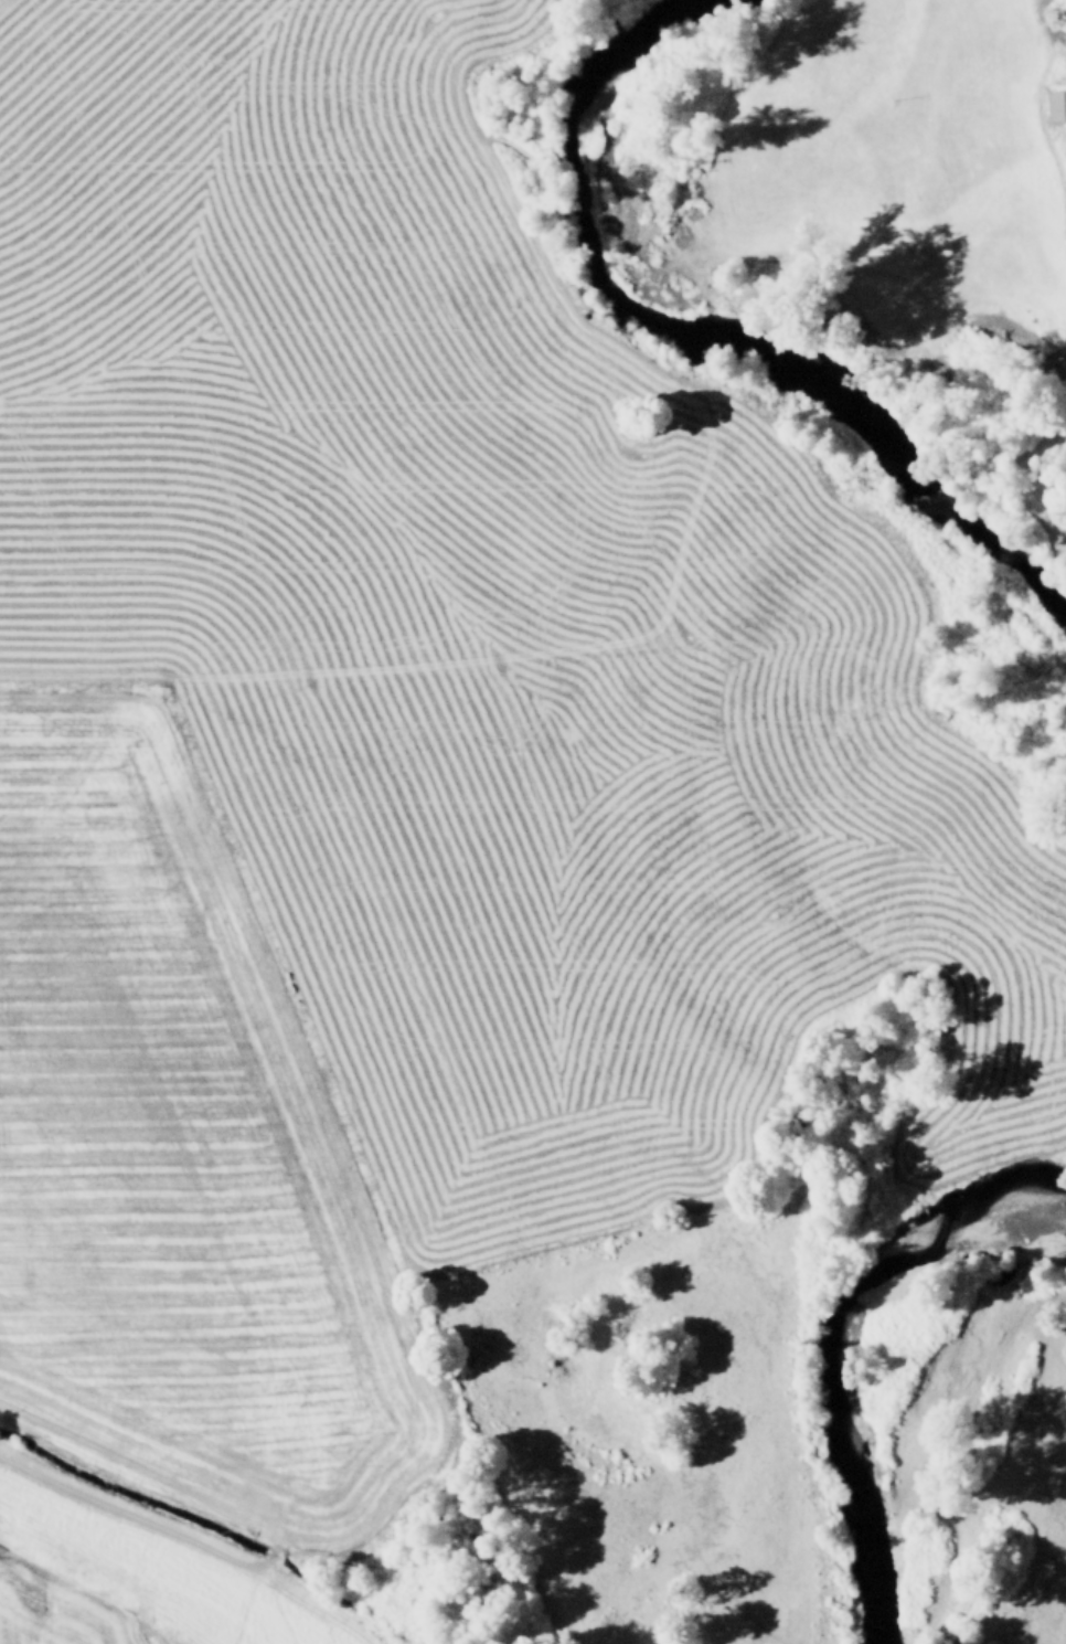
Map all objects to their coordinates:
building: (1054, 105)
river: (708, 333)
crop: (414, 812)
river: (839, 1346)

